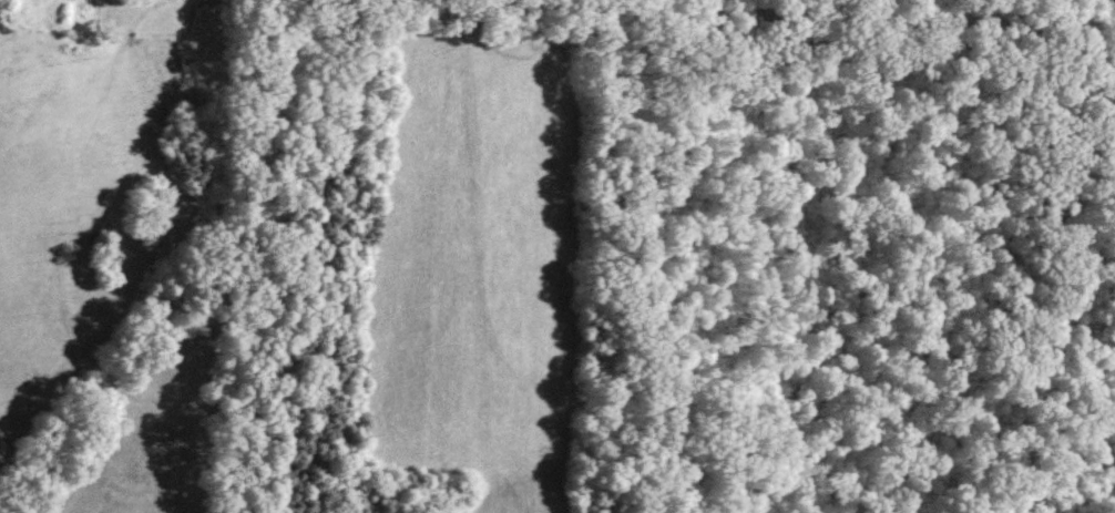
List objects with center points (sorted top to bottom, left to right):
road: (786, 7)

